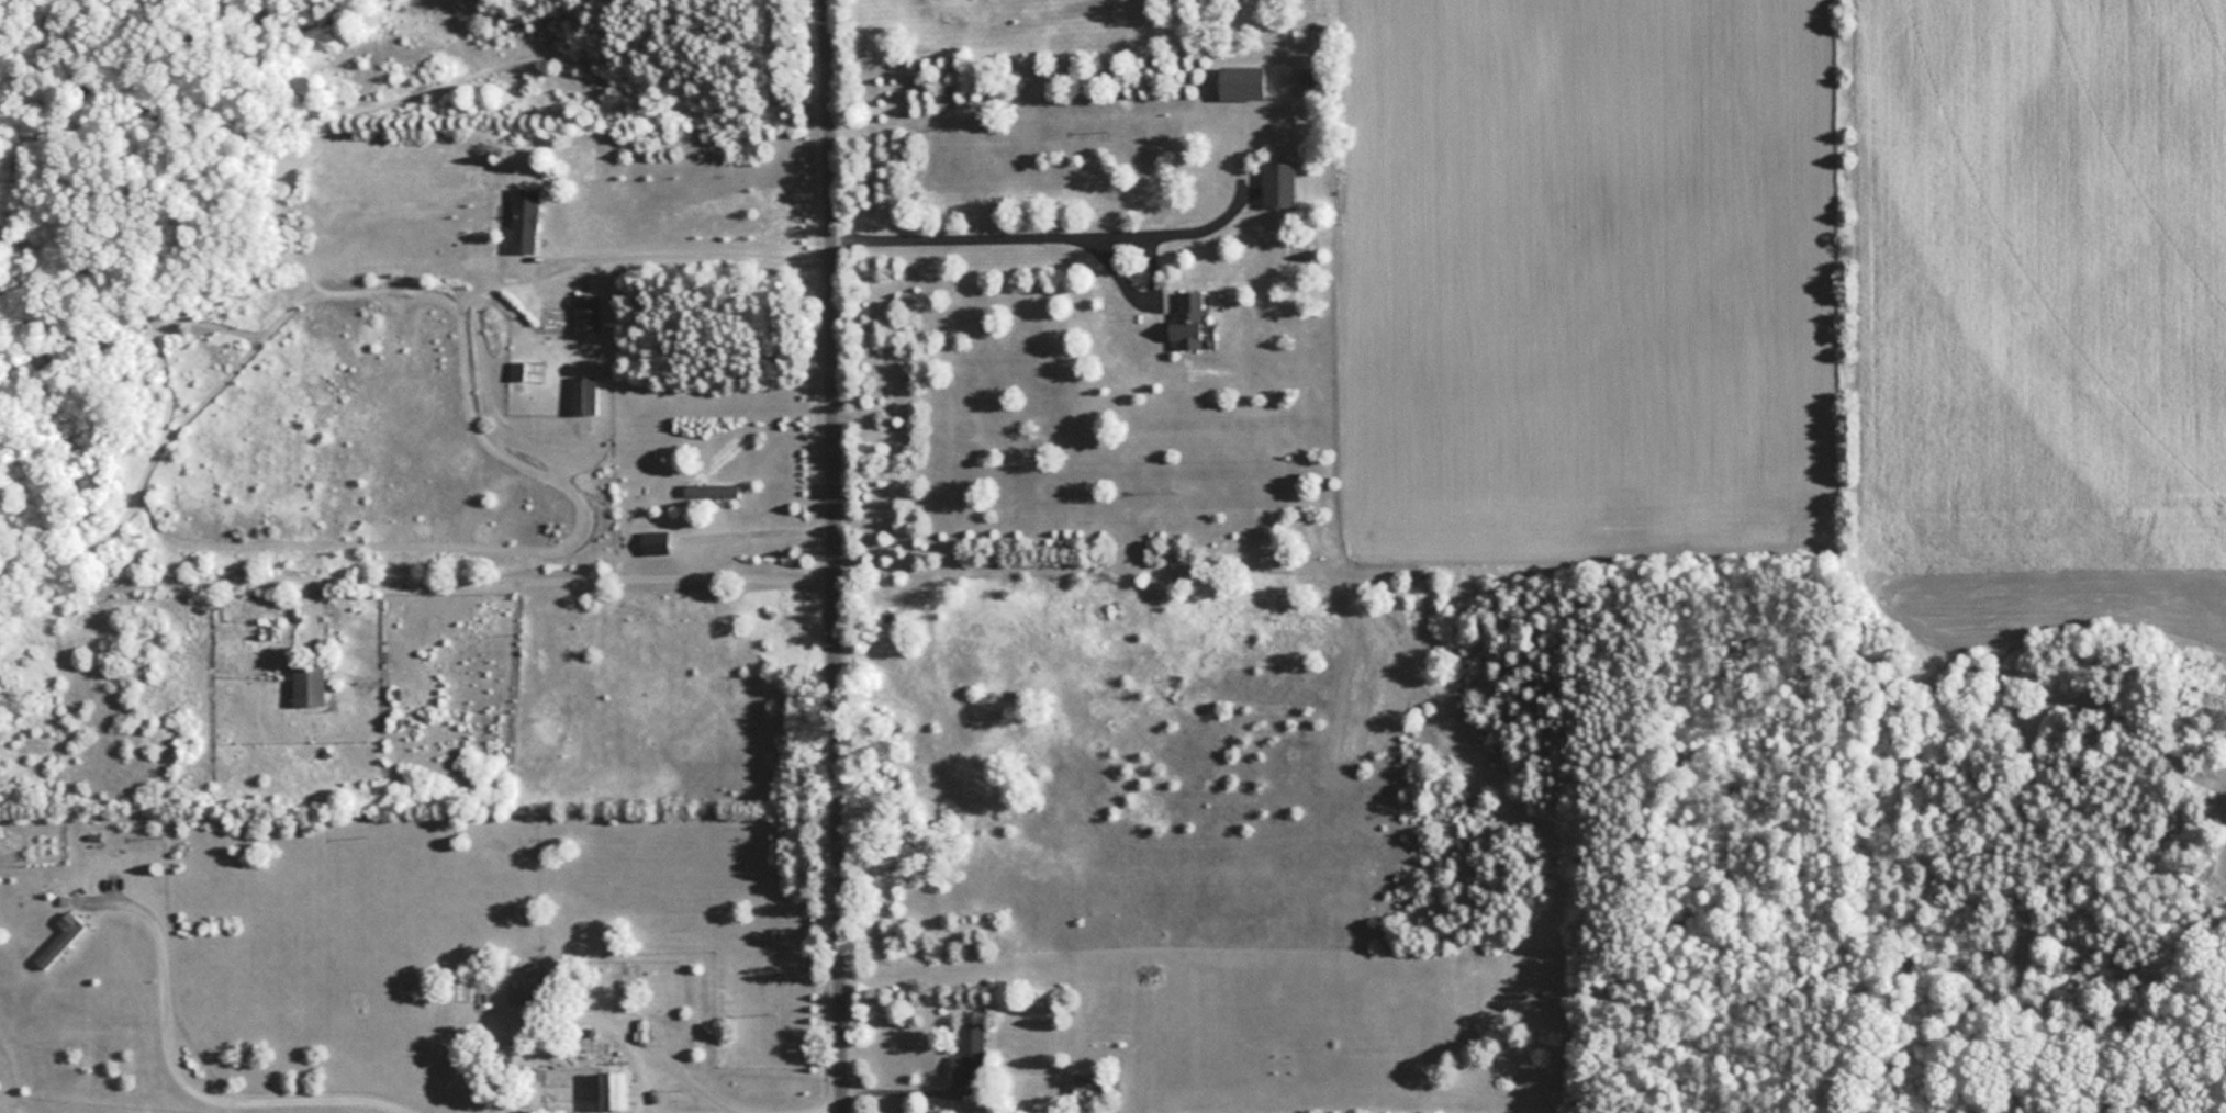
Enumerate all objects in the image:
building: (1241, 81)
building: (1279, 183)
building: (524, 218)
road: (1052, 222)
road: (684, 252)
building: (588, 311)
building: (1188, 318)
building: (526, 370)
building: (582, 394)
building: (711, 490)
building: (653, 541)
road: (832, 556)
building: (307, 679)
building: (58, 943)
building: (969, 1050)
building: (508, 1056)
building: (1087, 1082)
road: (181, 1086)
building: (612, 1089)

